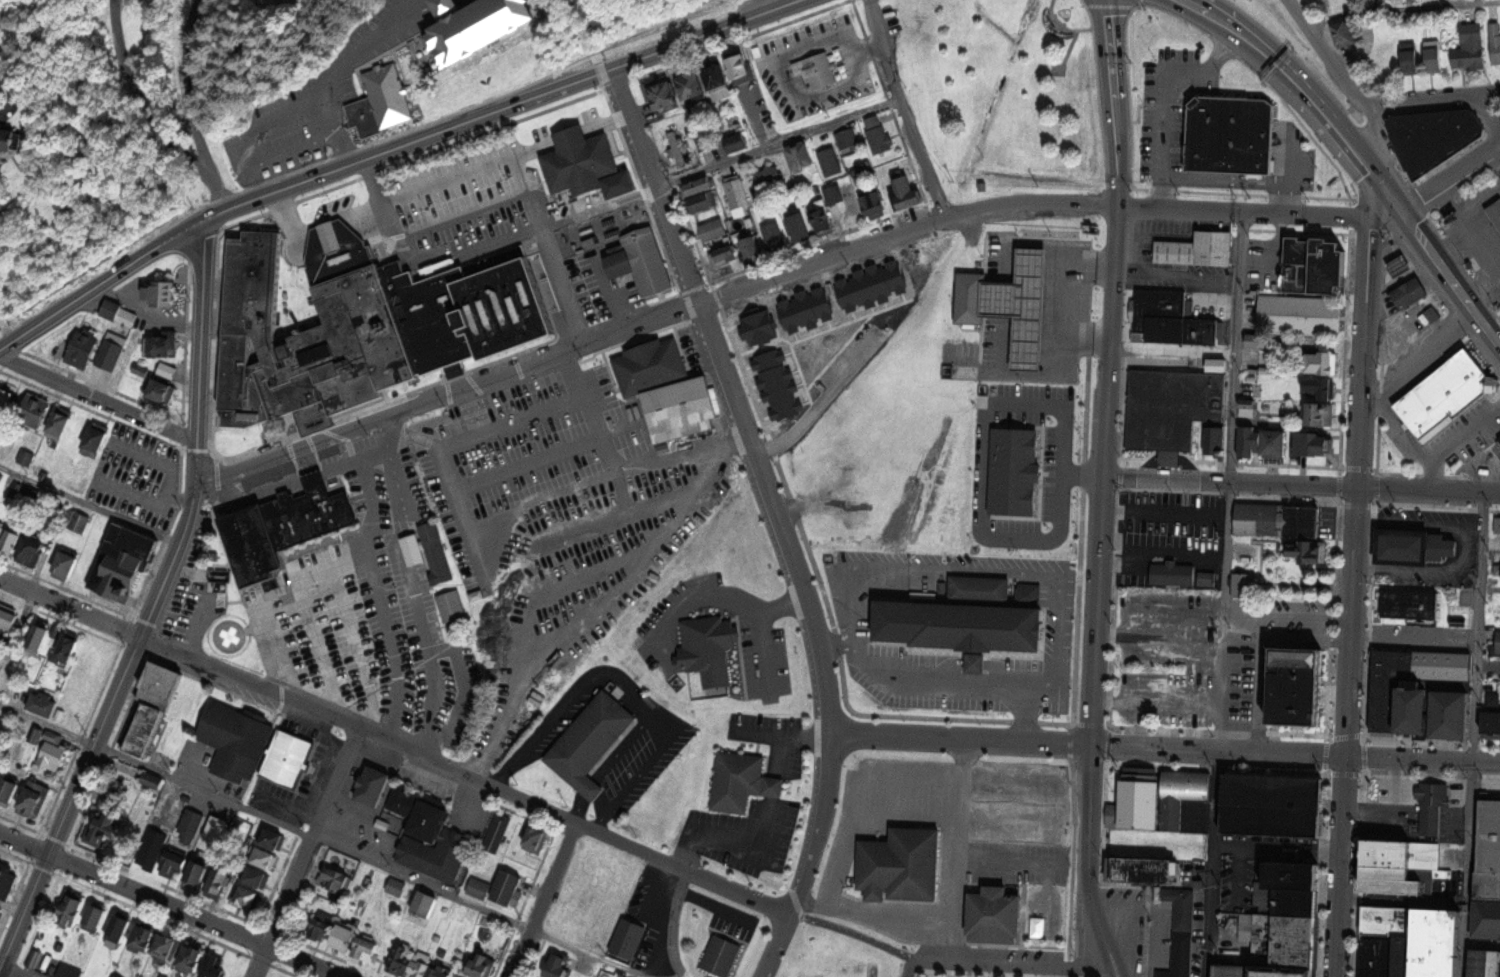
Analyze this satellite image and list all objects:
building: (1380, 1)
road: (760, 8)
road: (1402, 8)
parking lot: (396, 25)
building: (471, 26)
road: (1070, 29)
building: (1344, 33)
building: (1495, 41)
building: (1472, 46)
road: (1068, 51)
building: (1434, 56)
building: (1408, 57)
road: (344, 59)
road: (775, 62)
parking lot: (813, 67)
building: (741, 68)
building: (817, 69)
road: (1343, 78)
building: (718, 80)
building: (692, 85)
park: (1004, 92)
road: (1166, 92)
building: (661, 93)
road: (8, 98)
road: (140, 100)
road: (1433, 100)
building: (376, 102)
parking lot: (1171, 103)
road: (191, 108)
road: (902, 109)
building: (878, 134)
building: (1234, 135)
building: (11, 137)
building: (1438, 137)
road: (284, 138)
building: (700, 140)
building: (846, 141)
building: (736, 142)
parking lot: (272, 143)
building: (676, 147)
road: (392, 149)
road: (1360, 155)
building: (800, 156)
building: (830, 161)
road: (1293, 162)
building: (578, 164)
road: (268, 169)
building: (768, 177)
road: (1239, 181)
road: (1452, 182)
road: (654, 187)
building: (697, 187)
road: (523, 188)
road: (652, 188)
building: (907, 188)
building: (833, 194)
building: (736, 196)
parking lot: (463, 200)
building: (703, 203)
building: (875, 203)
road: (1243, 211)
building: (1496, 214)
road: (387, 218)
road: (460, 218)
building: (823, 223)
building: (796, 226)
building: (712, 230)
road: (1471, 230)
building: (772, 238)
building: (1197, 250)
building: (750, 251)
building: (722, 257)
building: (649, 261)
building: (1315, 266)
building: (1403, 266)
building: (618, 267)
building: (870, 284)
building: (165, 291)
road: (604, 292)
building: (1411, 293)
building: (973, 297)
building: (1026, 307)
building: (803, 309)
building: (121, 312)
park: (1499, 313)
road: (160, 315)
building: (1300, 315)
building: (1171, 320)
road: (651, 321)
building: (357, 327)
building: (753, 328)
road: (6, 330)
building: (1256, 342)
building: (160, 347)
road: (1237, 347)
building: (83, 352)
road: (198, 353)
building: (110, 355)
road: (1421, 358)
building: (1324, 362)
building: (1216, 365)
building: (650, 367)
building: (773, 385)
building: (1320, 388)
building: (161, 390)
building: (1446, 396)
road: (97, 398)
building: (6, 399)
road: (820, 404)
building: (683, 409)
building: (1173, 410)
road: (549, 411)
building: (36, 412)
building: (1319, 415)
building: (60, 425)
building: (634, 425)
road: (980, 440)
building: (96, 441)
building: (1213, 441)
building: (1499, 441)
building: (1264, 443)
building: (1314, 445)
road: (683, 455)
building: (25, 456)
road: (744, 459)
road: (531, 462)
road: (105, 463)
road: (1431, 465)
building: (1011, 469)
parking lot: (529, 475)
parking lot: (139, 476)
building: (76, 480)
road: (1302, 484)
road: (180, 490)
road: (1104, 492)
road: (549, 500)
road: (88, 504)
road: (1165, 514)
building: (78, 521)
building: (1277, 521)
building: (1497, 525)
building: (276, 528)
building: (1, 533)
building: (1139, 543)
building: (10, 545)
building: (1414, 548)
building: (436, 552)
building: (1305, 553)
building: (32, 554)
road: (502, 554)
road: (1203, 561)
building: (120, 562)
building: (64, 567)
road: (1062, 570)
building: (1168, 574)
building: (1203, 579)
road: (1353, 581)
road: (374, 584)
building: (1242, 586)
road: (410, 588)
parking lot: (591, 592)
road: (731, 599)
building: (1409, 605)
road: (590, 606)
road: (779, 607)
building: (452, 612)
road: (306, 614)
parking lot: (371, 614)
road: (1249, 615)
building: (1460, 617)
building: (7, 620)
road: (892, 622)
building: (980, 622)
building: (40, 635)
helipad: (229, 637)
road: (815, 637)
building: (1498, 641)
building: (68, 645)
road: (1415, 645)
building: (703, 650)
road: (274, 652)
road: (353, 653)
road: (626, 685)
building: (1299, 686)
building: (1424, 692)
road: (1477, 698)
building: (42, 703)
building: (147, 708)
road: (1025, 716)
building: (1490, 727)
road: (100, 729)
road: (780, 732)
building: (34, 734)
building: (236, 741)
building: (590, 743)
road: (394, 744)
road: (625, 748)
road: (1164, 748)
road: (780, 750)
building: (52, 755)
building: (286, 760)
road: (896, 779)
building: (154, 780)
building: (741, 782)
building: (1185, 784)
building: (373, 787)
road: (590, 789)
building: (9, 790)
building: (35, 798)
parking lot: (888, 801)
parking lot: (1390, 803)
building: (1140, 804)
building: (1271, 805)
building: (1433, 807)
road: (580, 809)
building: (419, 812)
building: (1111, 815)
building: (1172, 815)
building: (108, 816)
building: (1195, 816)
road: (958, 822)
building: (187, 823)
building: (498, 834)
building: (271, 836)
parking lot: (1025, 836)
building: (534, 840)
road: (323, 842)
road: (735, 844)
building: (1487, 849)
road: (1278, 850)
road: (961, 851)
road: (306, 853)
building: (438, 854)
building: (1392, 854)
building: (261, 856)
building: (172, 862)
road: (1038, 864)
road: (1213, 864)
building: (906, 867)
building: (597, 869)
building: (1140, 870)
building: (1199, 872)
building: (196, 874)
building: (1291, 875)
building: (255, 876)
building: (337, 879)
road: (1236, 879)
building: (1396, 880)
building: (7, 881)
building: (220, 881)
building: (506, 887)
building: (396, 888)
building: (478, 888)
building: (246, 897)
road: (543, 900)
building: (583, 902)
building: (1298, 903)
road: (169, 906)
building: (424, 906)
building: (71, 908)
building: (1180, 908)
building: (2, 910)
building: (999, 916)
building: (94, 917)
road: (874, 919)
building: (1389, 920)
building: (1487, 921)
building: (118, 926)
building: (323, 927)
building: (566, 934)
building: (345, 935)
building: (144, 936)
building: (628, 939)
building: (1296, 943)
building: (1439, 943)
building: (166, 945)
building: (367, 950)
building: (721, 956)
parking lot: (991, 956)
building: (1181, 956)
building: (1377, 956)
building: (1403, 956)
building: (191, 957)
building: (417, 963)
building: (481, 964)
building: (1482, 964)
road: (1006, 965)
building: (1496, 965)
building: (559, 966)
building: (214, 967)
road: (972, 970)
road: (14, 971)
building: (69, 971)
road: (1110, 972)
building: (1239, 972)
road: (993, 973)
building: (1287, 973)
building: (114, 976)

